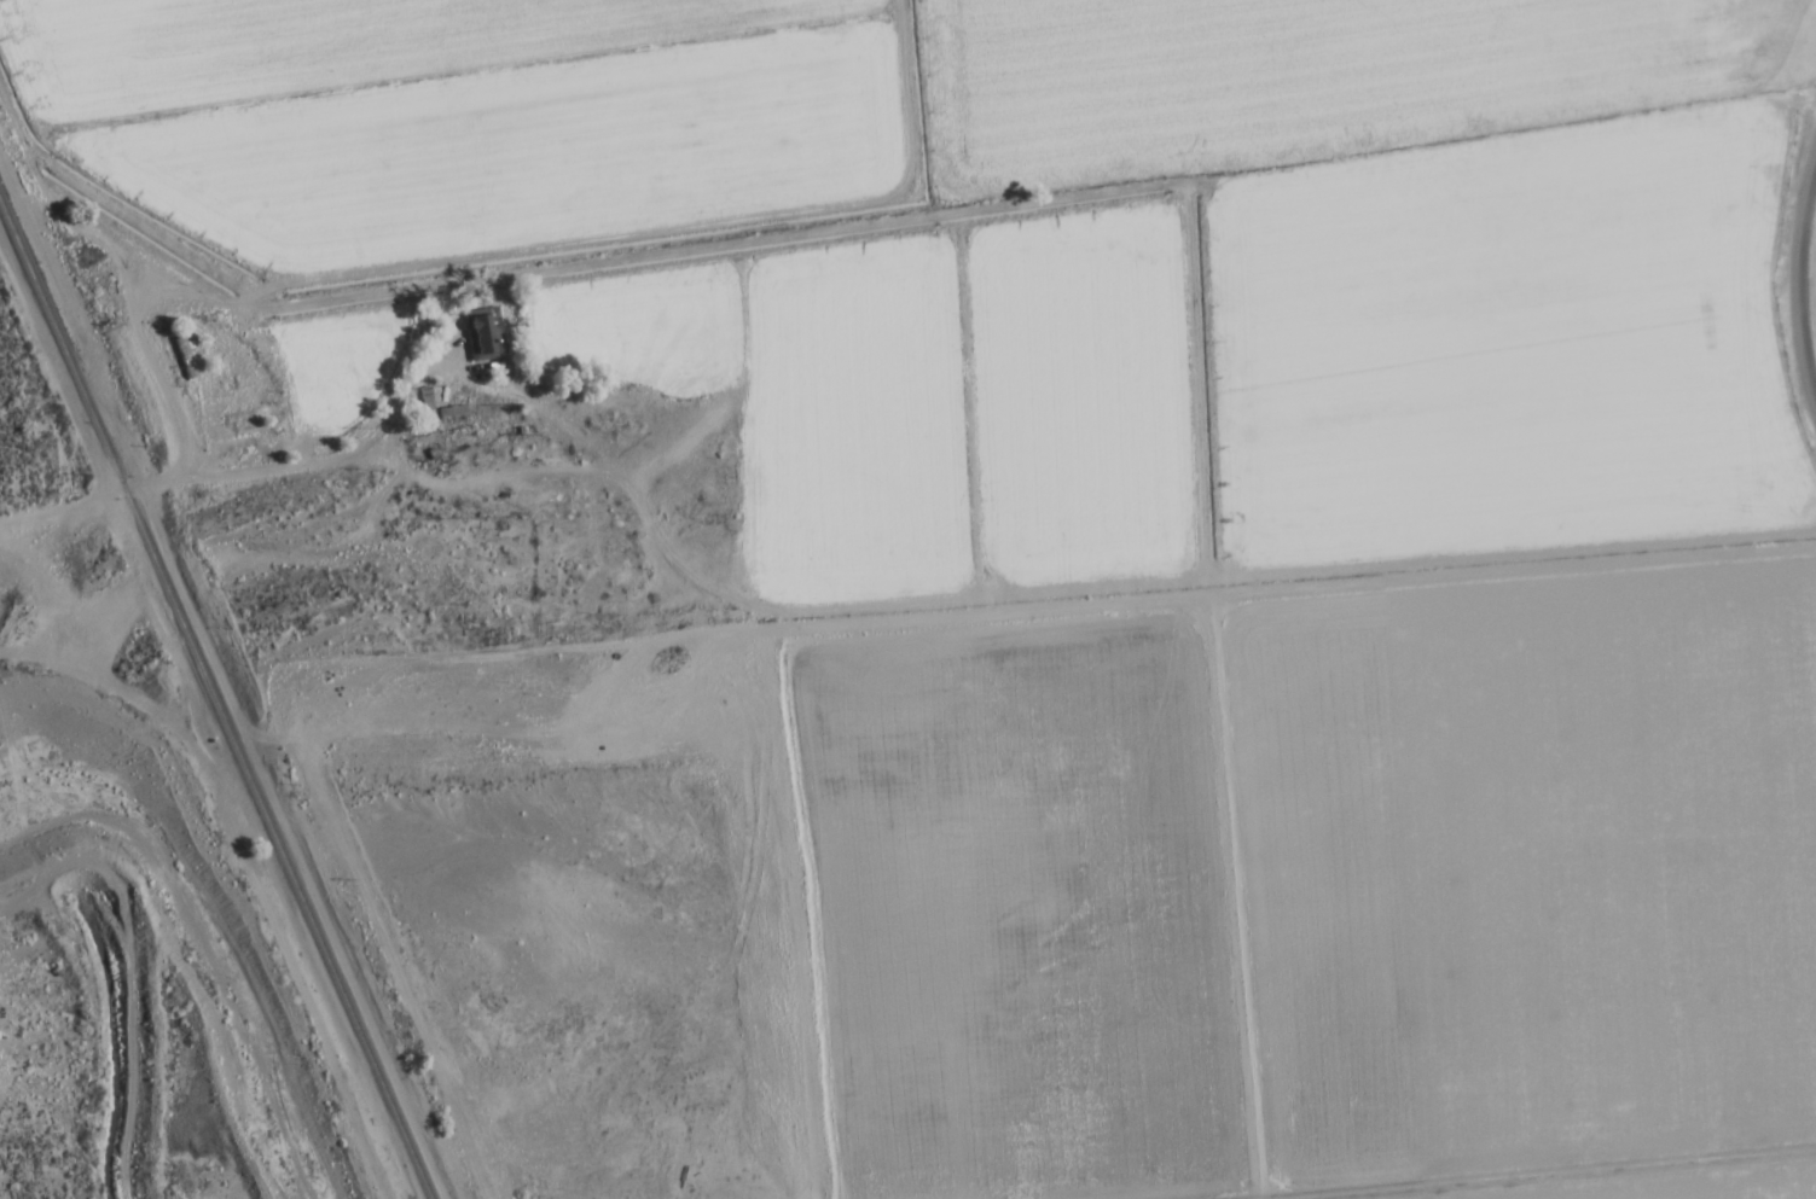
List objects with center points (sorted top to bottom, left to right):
road: (1797, 277)
building: (181, 357)
building: (423, 403)
building: (448, 413)
building: (230, 418)
road: (168, 482)
building: (550, 496)
railway: (213, 704)

